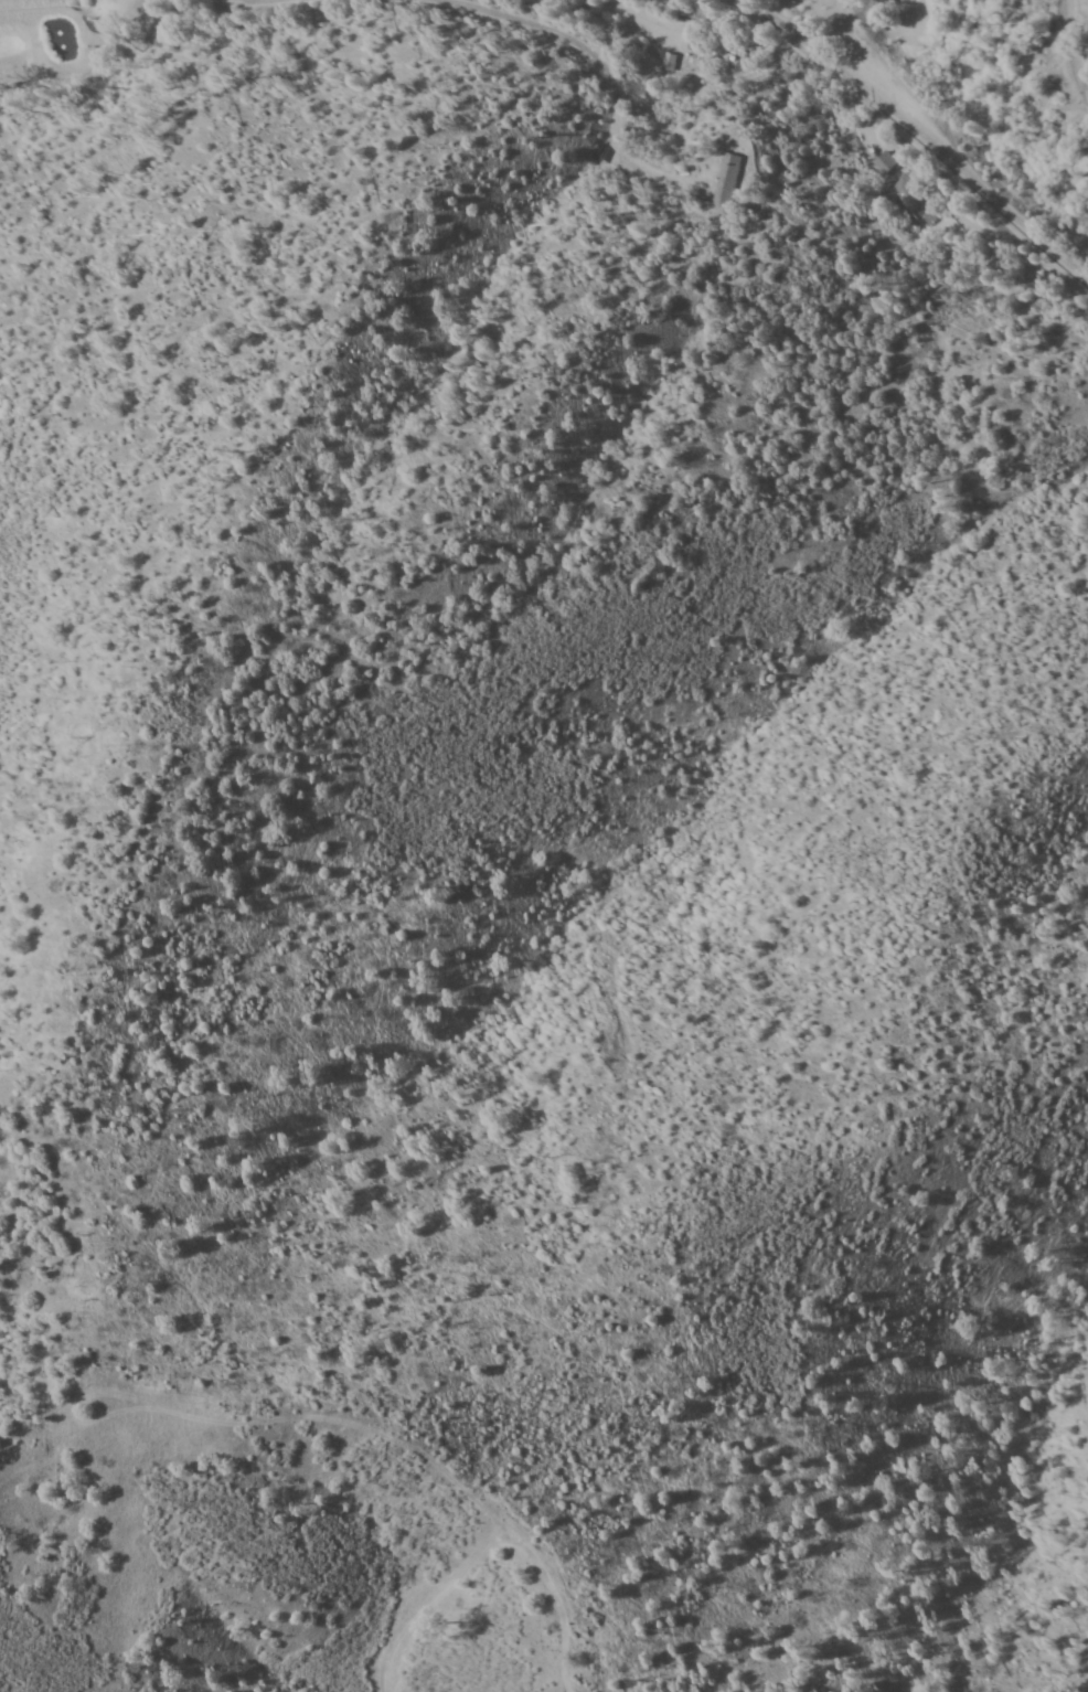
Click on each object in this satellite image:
road: (836, 34)
road: (1073, 43)
road: (1018, 114)
road: (914, 131)
building: (883, 164)
building: (727, 180)
road: (935, 189)
building: (913, 196)

